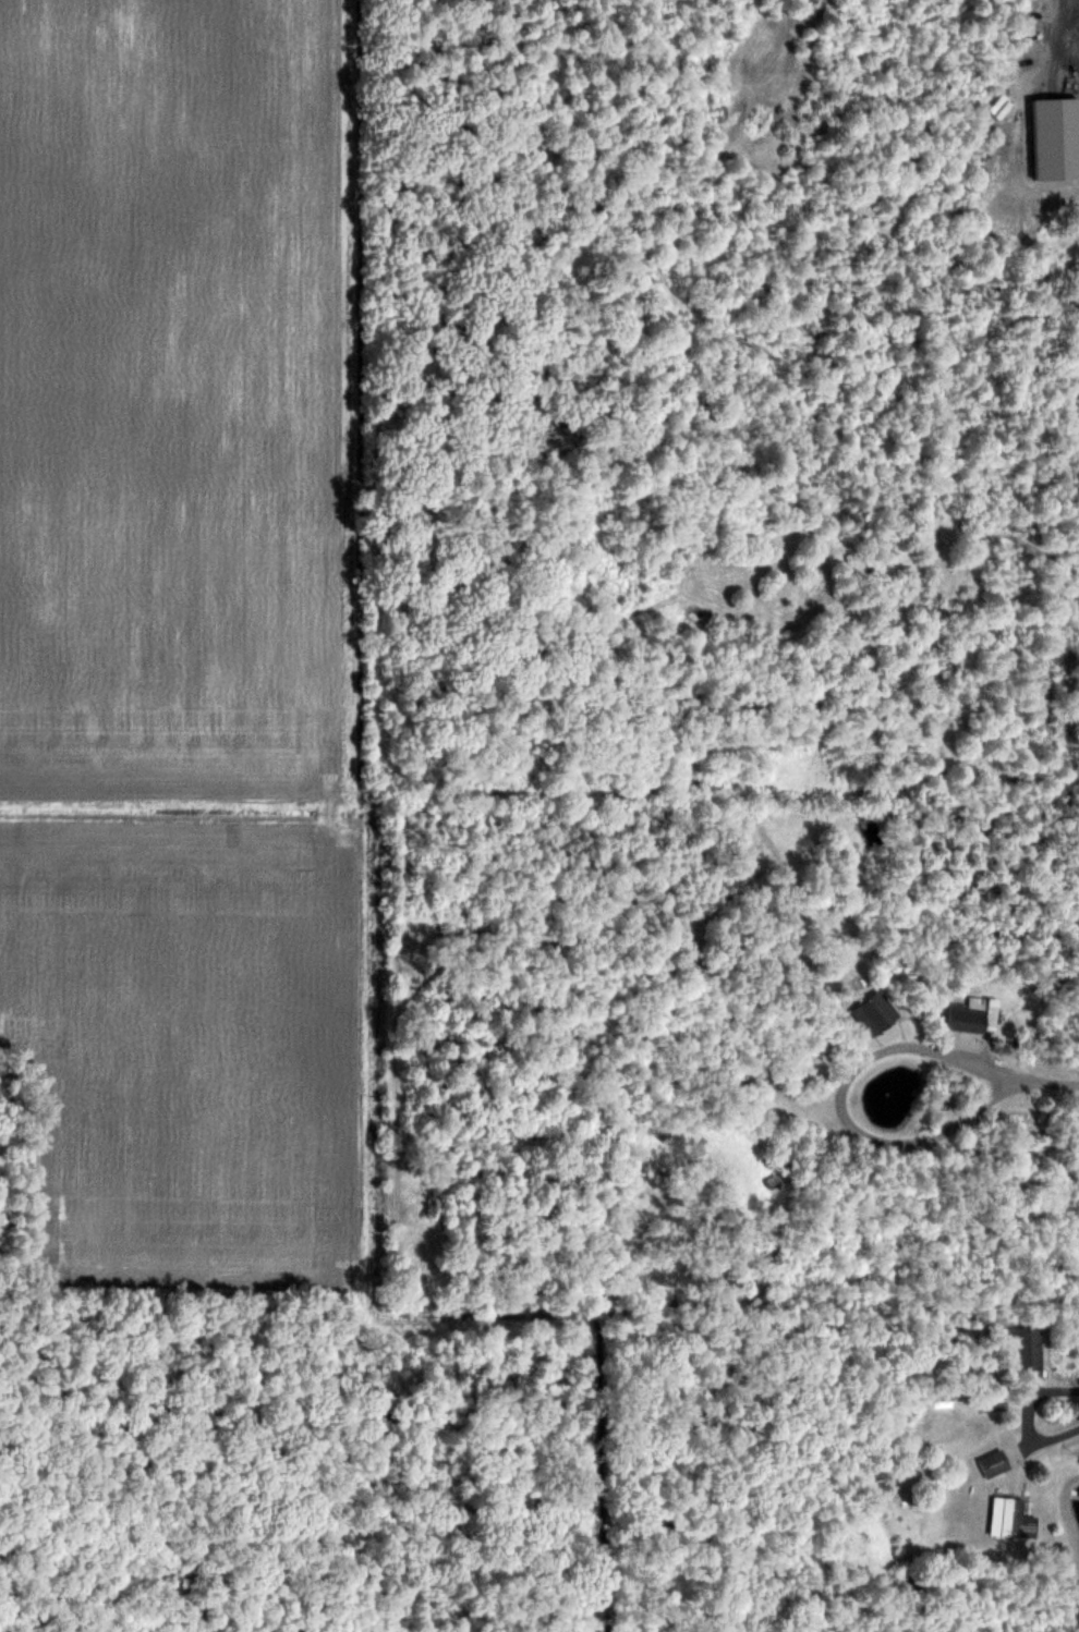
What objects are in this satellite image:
building: (875, 1012)
building: (974, 1015)
road: (1020, 1075)
building: (1025, 1348)
road: (1027, 1416)
building: (994, 1462)
building: (1011, 1518)

